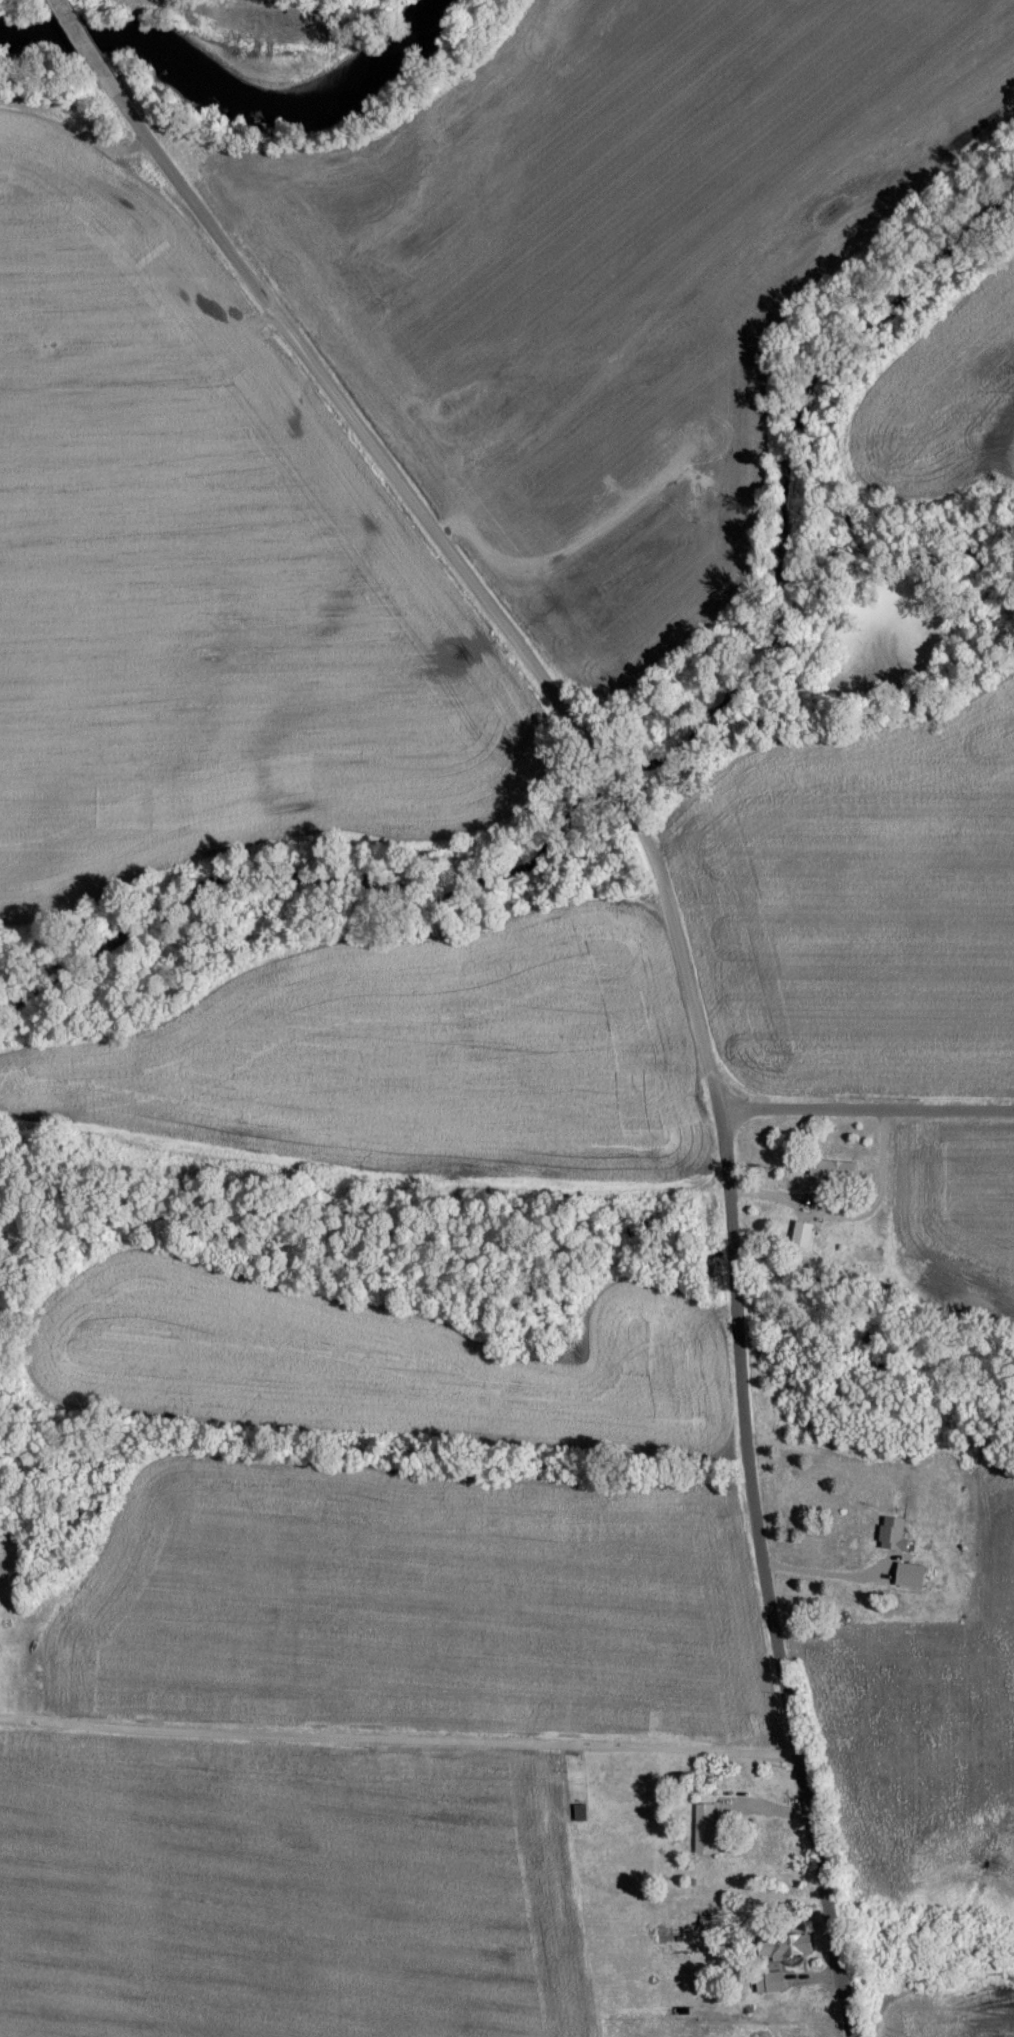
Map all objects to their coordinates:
road: (699, 933)
road: (866, 1111)
building: (835, 1178)
building: (803, 1244)
building: (895, 1543)
road: (398, 1740)
building: (582, 1822)
building: (706, 1838)
building: (666, 1950)
building: (791, 1955)
building: (772, 1992)

